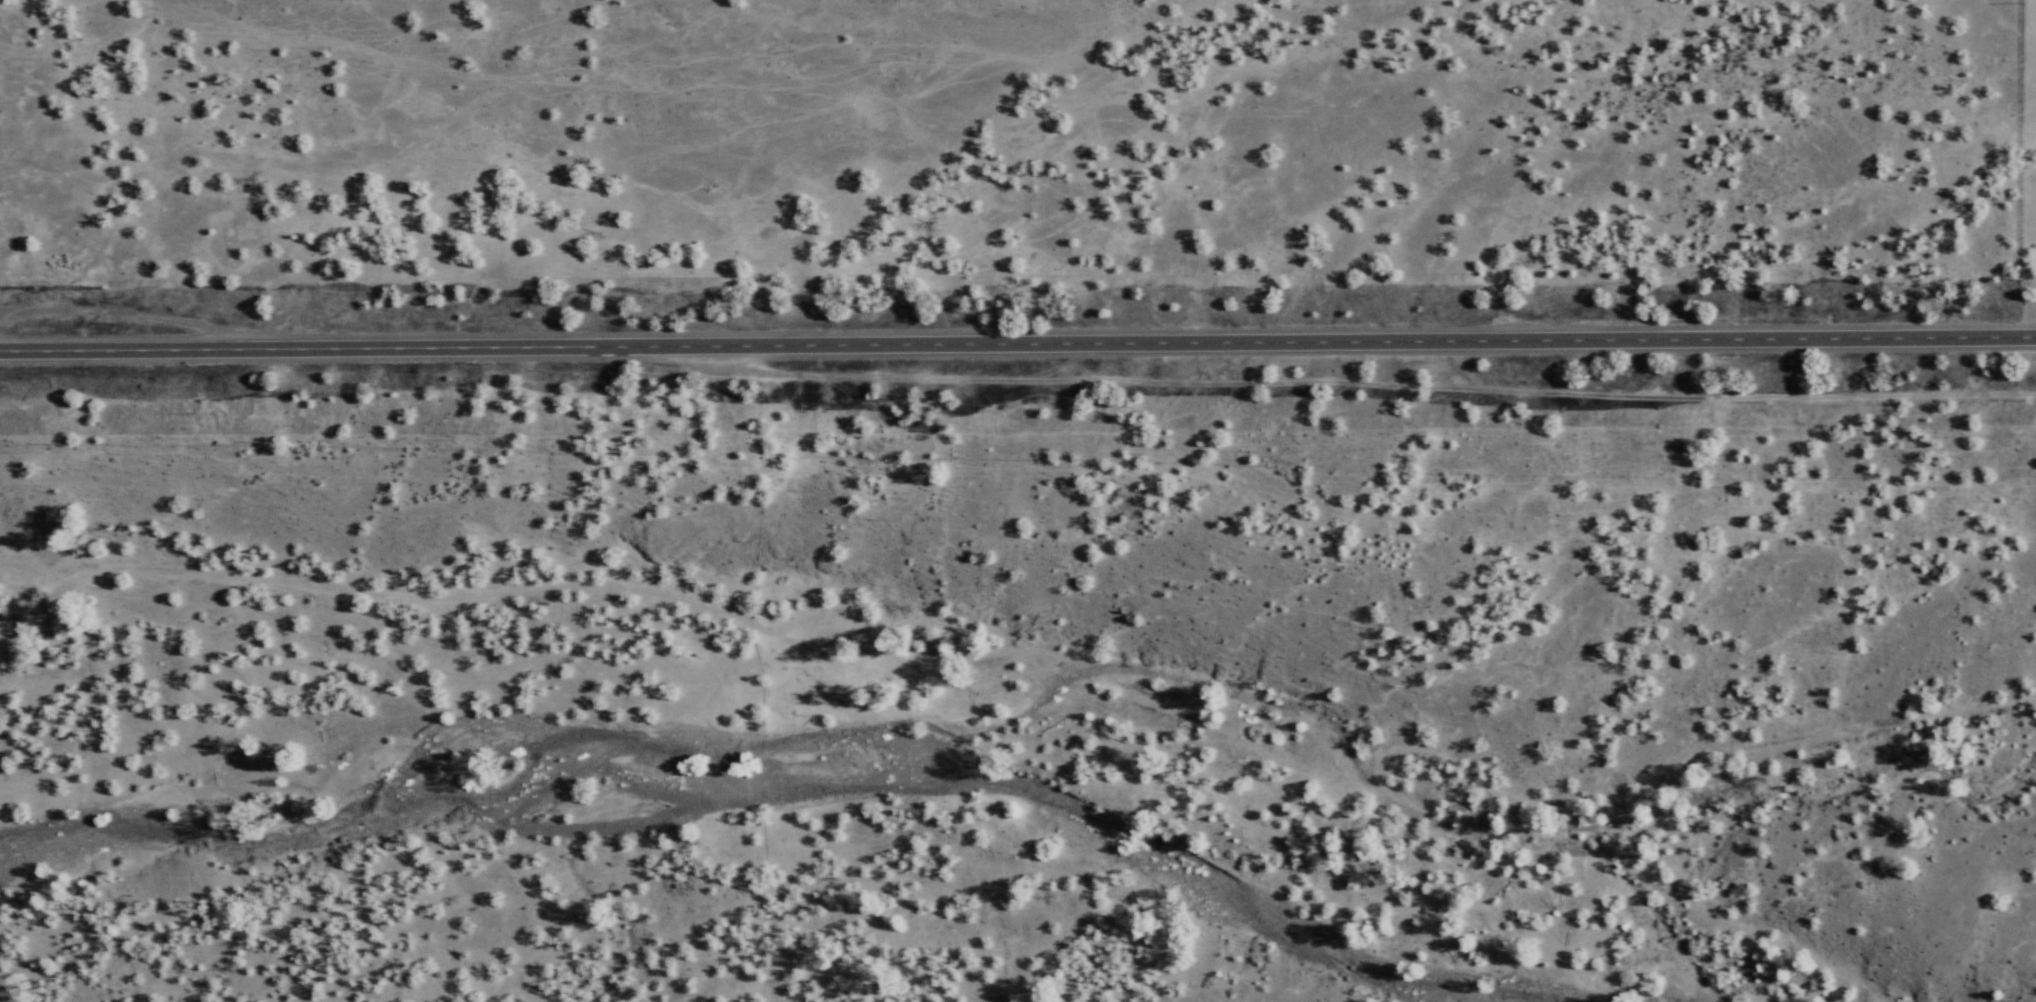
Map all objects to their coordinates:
road: (1018, 343)
river: (463, 797)

